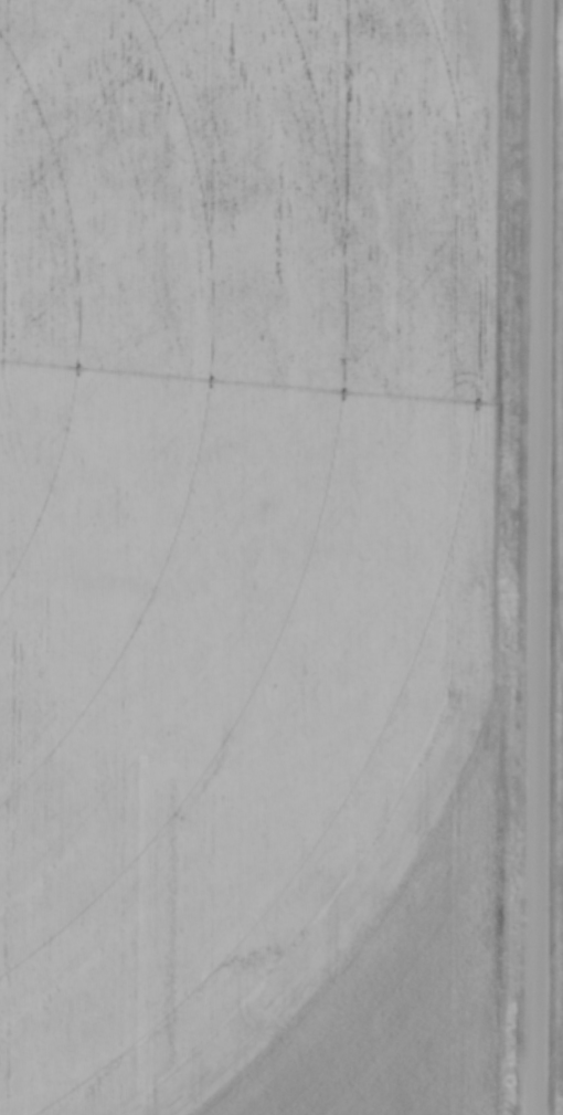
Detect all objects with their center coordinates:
road: (540, 557)

